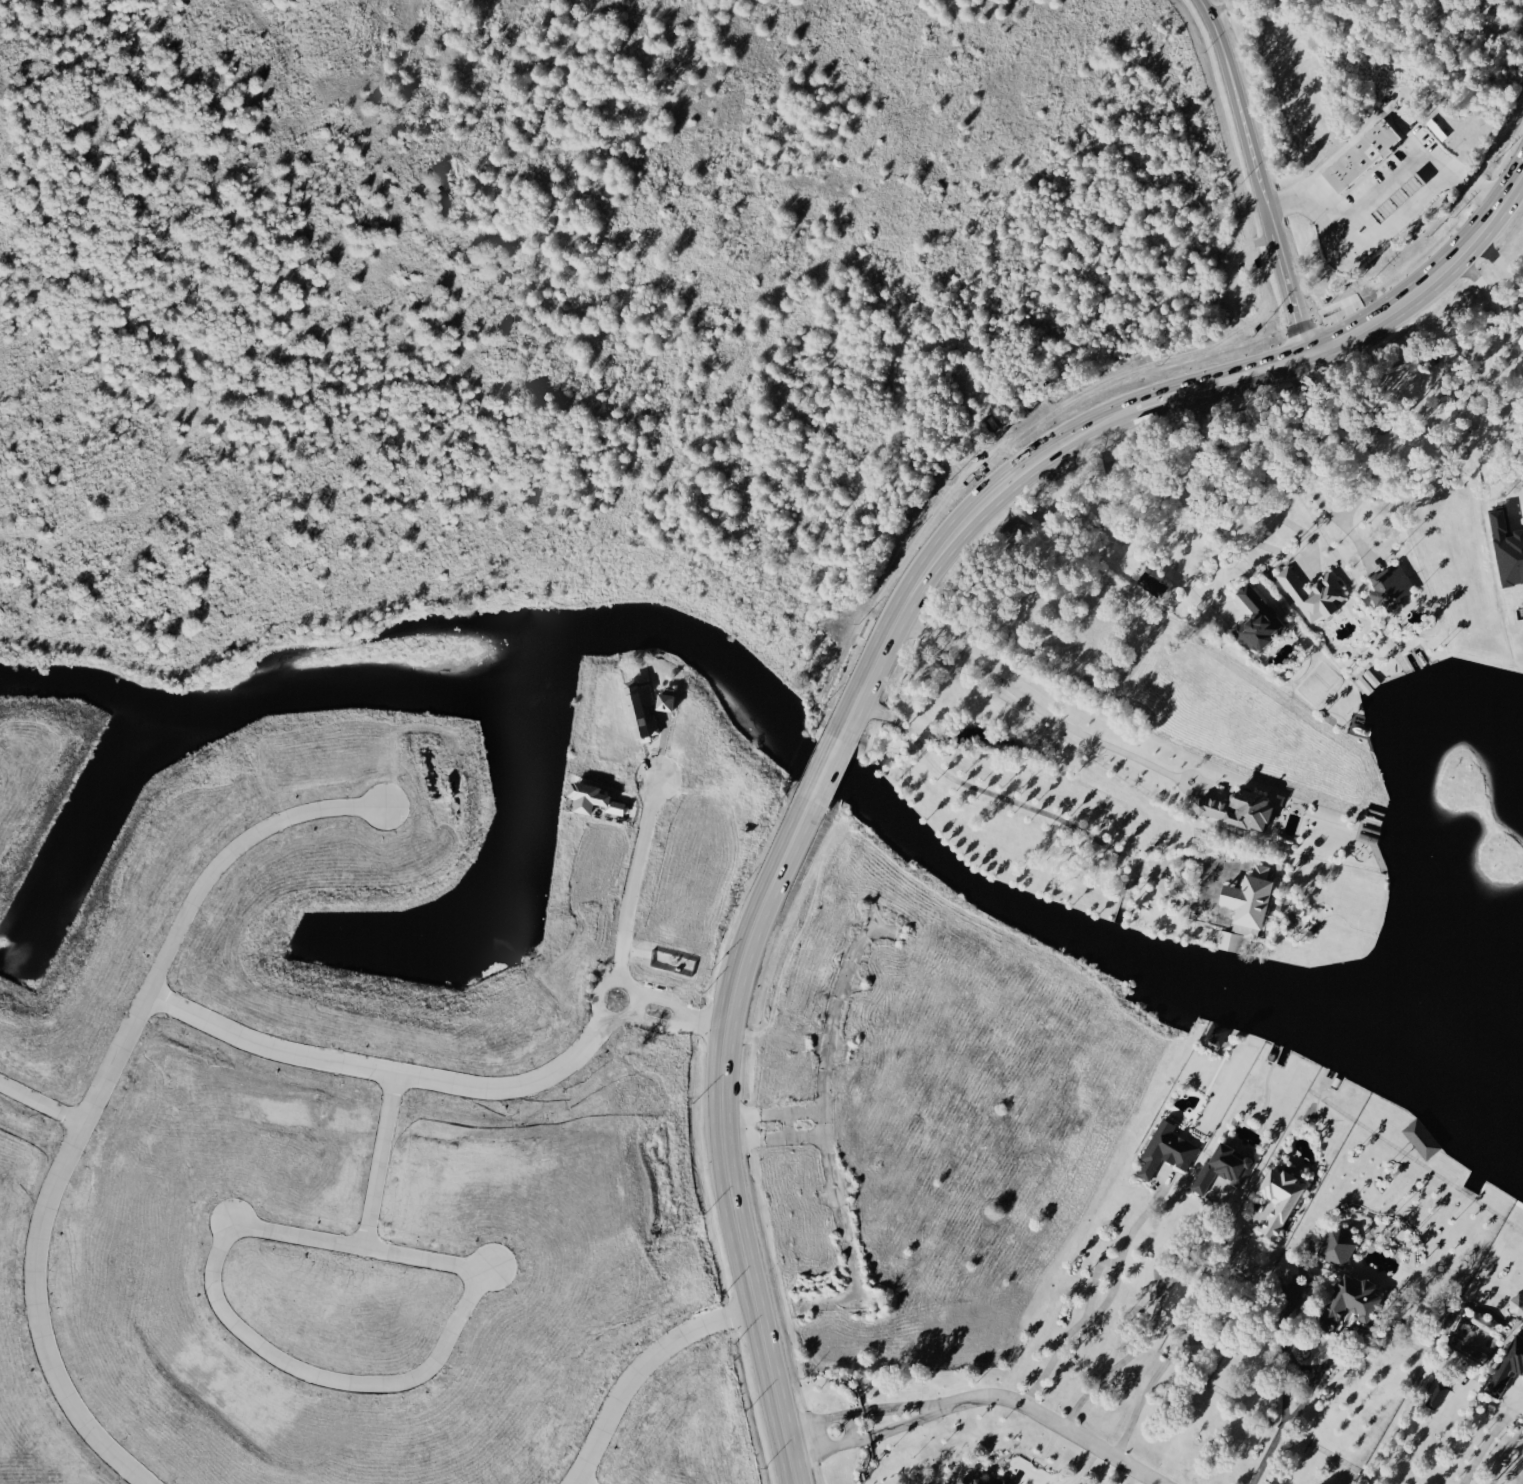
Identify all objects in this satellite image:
building: (1360, 154)
road: (1257, 175)
road: (1383, 189)
road: (1397, 216)
road: (1500, 265)
road: (1491, 375)
road: (1367, 451)
road: (1298, 468)
road: (1120, 499)
road: (1291, 527)
building: (1507, 550)
building: (1151, 584)
road: (1211, 587)
building: (1389, 587)
building: (1312, 594)
building: (1255, 621)
road: (871, 669)
building: (639, 708)
road: (1045, 714)
building: (590, 796)
building: (1236, 809)
road: (1077, 830)
road: (629, 910)
building: (1245, 910)
road: (667, 1018)
building: (1420, 1137)
building: (1165, 1149)
building: (1222, 1166)
building: (1278, 1197)
building: (1337, 1245)
building: (1349, 1299)
building: (1516, 1303)
road: (1106, 1309)
road: (1152, 1331)
road: (1185, 1332)
building: (1507, 1364)
road: (1282, 1388)
building: (1435, 1395)
road: (979, 1397)
road: (1485, 1439)
road: (1082, 1467)
road: (1137, 1479)
building: (979, 1480)
road: (1521, 1481)

